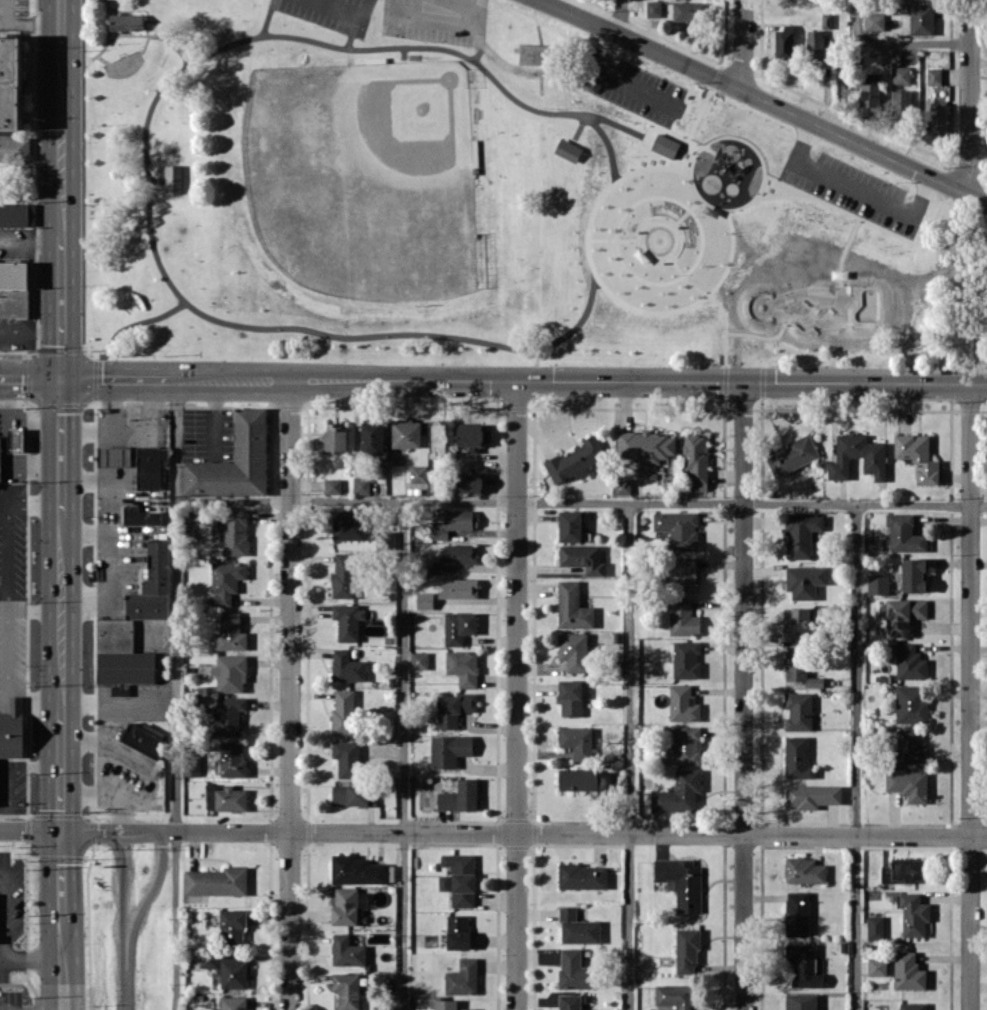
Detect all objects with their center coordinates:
building: (653, 8)
building: (689, 10)
road: (619, 16)
building: (921, 19)
building: (126, 21)
building: (874, 21)
road: (30, 25)
building: (784, 42)
road: (893, 42)
road: (742, 45)
building: (815, 45)
building: (536, 54)
building: (901, 74)
building: (934, 76)
road: (615, 78)
building: (10, 82)
building: (870, 94)
road: (969, 96)
road: (765, 100)
building: (901, 100)
building: (937, 119)
road: (60, 120)
building: (665, 145)
building: (14, 148)
building: (568, 150)
building: (173, 179)
road: (853, 191)
park: (480, 199)
building: (13, 214)
road: (30, 239)
road: (60, 308)
traffic signals: (60, 376)
road: (493, 378)
road: (130, 429)
building: (407, 434)
building: (472, 436)
building: (334, 437)
building: (372, 437)
building: (438, 438)
building: (16, 439)
road: (60, 445)
building: (646, 446)
road: (114, 451)
building: (114, 455)
building: (793, 455)
building: (0, 456)
building: (917, 456)
building: (874, 458)
building: (696, 459)
building: (234, 460)
building: (575, 460)
building: (150, 466)
building: (418, 473)
building: (469, 482)
building: (332, 485)
building: (361, 485)
building: (621, 486)
road: (581, 501)
road: (34, 505)
road: (4, 506)
building: (140, 516)
building: (454, 522)
building: (347, 526)
building: (569, 526)
building: (678, 528)
building: (233, 530)
building: (904, 533)
building: (799, 536)
building: (455, 556)
road: (7, 557)
building: (582, 558)
road: (114, 566)
building: (683, 573)
building: (914, 574)
building: (343, 575)
building: (804, 580)
building: (226, 581)
building: (877, 584)
building: (459, 587)
road: (3, 591)
building: (424, 600)
building: (147, 606)
building: (573, 606)
road: (34, 610)
building: (903, 614)
building: (683, 618)
building: (348, 621)
building: (799, 622)
building: (458, 627)
building: (231, 632)
building: (574, 651)
road: (5, 653)
building: (686, 659)
building: (419, 660)
building: (910, 661)
building: (347, 666)
building: (463, 666)
building: (800, 669)
building: (230, 673)
road: (175, 693)
road: (289, 693)
road: (515, 694)
road: (742, 695)
road: (969, 696)
building: (570, 697)
road: (33, 698)
road: (118, 701)
building: (683, 703)
building: (911, 703)
building: (454, 708)
building: (343, 711)
building: (799, 711)
building: (227, 716)
building: (12, 728)
building: (141, 738)
building: (577, 741)
building: (683, 746)
building: (910, 746)
building: (449, 750)
road: (402, 755)
road: (628, 755)
road: (855, 756)
building: (232, 758)
building: (347, 758)
building: (797, 758)
road: (63, 761)
building: (191, 767)
road: (147, 770)
building: (124, 773)
road: (9, 774)
building: (578, 778)
building: (908, 784)
building: (678, 793)
building: (353, 794)
road: (93, 795)
building: (812, 795)
building: (459, 796)
building: (225, 797)
traffic signals: (63, 830)
road: (493, 832)
building: (356, 870)
building: (804, 870)
building: (903, 870)
building: (582, 876)
building: (461, 878)
building: (216, 881)
building: (443, 882)
building: (681, 882)
building: (345, 906)
building: (797, 913)
road: (4, 914)
building: (913, 914)
road: (124, 920)
building: (875, 927)
building: (577, 928)
building: (459, 932)
building: (686, 949)
building: (346, 951)
road: (2, 960)
road: (34, 960)
building: (208, 960)
building: (803, 965)
building: (876, 966)
building: (574, 970)
building: (234, 971)
building: (908, 971)
building: (462, 977)
building: (347, 990)
building: (676, 995)
building: (801, 1001)
building: (569, 1002)
building: (232, 1003)
building: (448, 1005)
building: (912, 1005)
road: (37, 1008)

